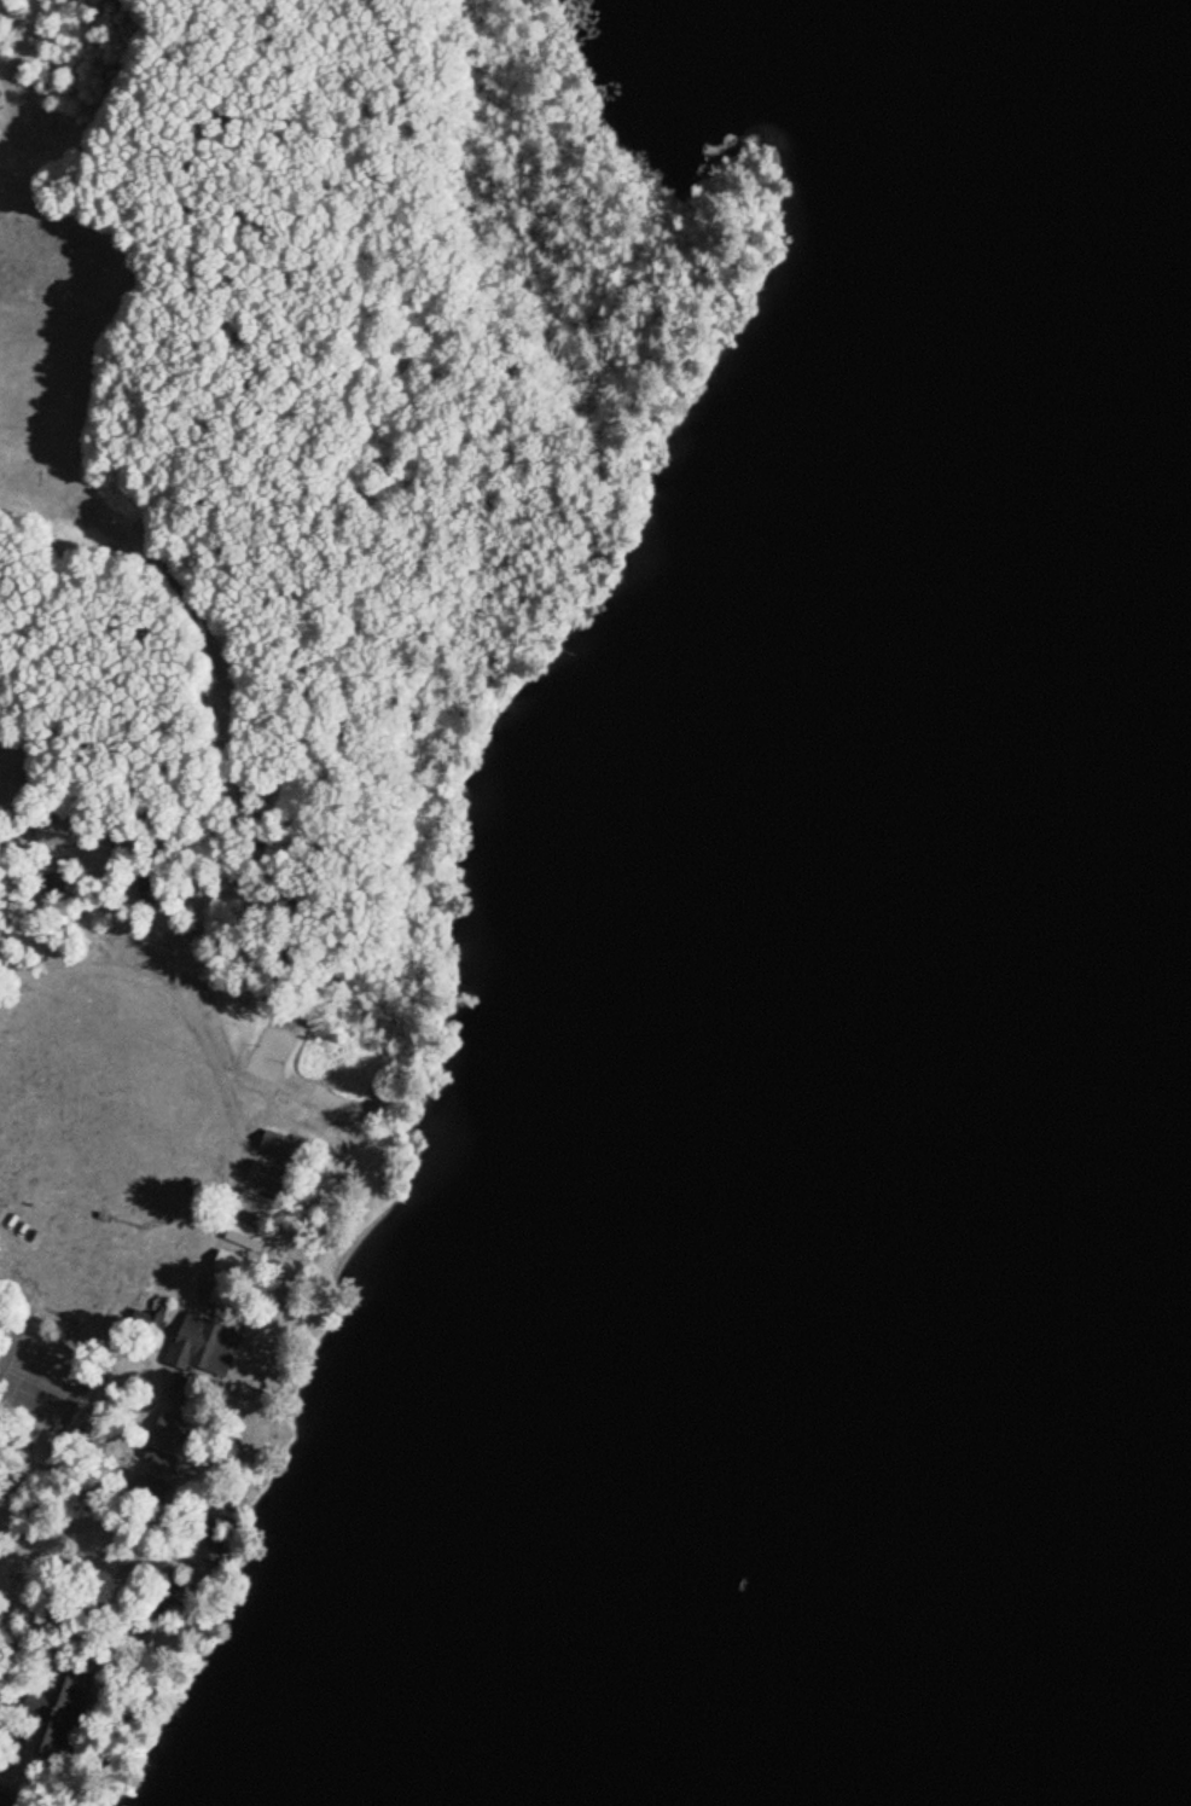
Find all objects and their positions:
building: (56, 832)
building: (279, 1146)
building: (267, 1175)
building: (251, 1203)
road: (223, 1223)
building: (243, 1235)
building: (230, 1264)
building: (204, 1348)
building: (170, 1429)
building: (159, 1462)
building: (147, 1489)
building: (215, 1539)
building: (168, 1596)
building: (127, 1645)
building: (56, 1713)
building: (1, 1799)

